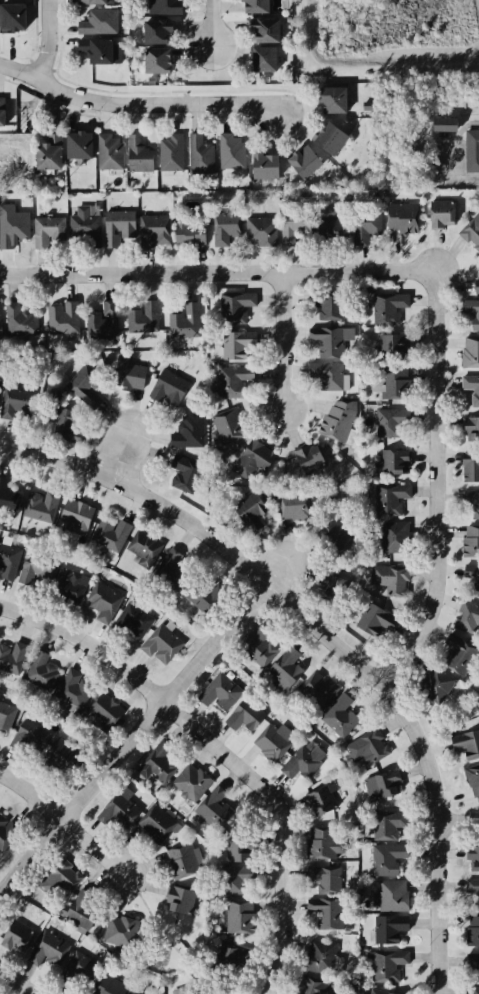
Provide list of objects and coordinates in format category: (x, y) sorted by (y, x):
building: (94, 1)
building: (254, 5)
building: (162, 6)
building: (11, 16)
building: (98, 22)
building: (154, 30)
building: (263, 30)
road: (217, 31)
road: (39, 39)
building: (94, 49)
building: (262, 58)
building: (154, 59)
building: (331, 99)
road: (137, 105)
building: (367, 105)
building: (1, 111)
building: (444, 124)
building: (327, 137)
building: (76, 143)
building: (471, 150)
building: (231, 151)
building: (47, 152)
building: (108, 152)
building: (171, 152)
building: (138, 154)
building: (200, 155)
building: (302, 161)
building: (263, 165)
building: (441, 213)
building: (402, 217)
building: (85, 225)
building: (365, 225)
building: (118, 226)
building: (294, 226)
building: (327, 226)
building: (13, 227)
building: (224, 227)
building: (189, 229)
building: (47, 230)
building: (154, 230)
building: (261, 230)
building: (471, 231)
road: (218, 273)
building: (476, 286)
building: (329, 305)
building: (234, 306)
building: (388, 307)
building: (471, 311)
building: (62, 318)
building: (142, 318)
building: (20, 319)
building: (184, 320)
building: (102, 321)
building: (0, 330)
building: (328, 340)
road: (286, 341)
building: (236, 343)
building: (470, 352)
building: (394, 368)
building: (129, 372)
building: (329, 376)
building: (233, 379)
building: (84, 385)
building: (168, 387)
building: (471, 388)
building: (53, 394)
building: (13, 402)
building: (337, 420)
building: (391, 421)
building: (227, 425)
building: (65, 426)
building: (470, 427)
building: (189, 432)
road: (132, 441)
building: (253, 458)
building: (309, 458)
building: (393, 461)
building: (470, 466)
building: (184, 473)
road: (439, 483)
building: (8, 498)
building: (390, 498)
building: (471, 500)
building: (294, 502)
building: (40, 505)
building: (249, 509)
building: (76, 515)
building: (111, 534)
building: (334, 537)
building: (393, 537)
building: (471, 540)
building: (143, 549)
building: (8, 560)
building: (34, 567)
building: (171, 571)
building: (472, 576)
building: (389, 578)
road: (269, 581)
building: (69, 585)
building: (332, 586)
building: (199, 598)
building: (103, 601)
building: (467, 616)
building: (132, 619)
building: (375, 619)
building: (160, 643)
building: (260, 646)
building: (460, 655)
building: (12, 656)
building: (286, 669)
building: (40, 671)
building: (435, 684)
building: (317, 689)
building: (71, 690)
building: (220, 691)
building: (476, 702)
building: (106, 712)
building: (339, 714)
building: (244, 715)
building: (6, 716)
road: (148, 720)
building: (28, 736)
building: (272, 742)
building: (466, 744)
building: (367, 747)
road: (224, 751)
building: (58, 755)
building: (156, 762)
building: (302, 762)
building: (472, 778)
building: (191, 781)
building: (382, 784)
building: (320, 799)
building: (212, 808)
building: (117, 809)
road: (462, 819)
road: (63, 822)
building: (155, 822)
building: (388, 823)
building: (6, 830)
building: (325, 841)
building: (236, 846)
building: (472, 855)
building: (386, 858)
building: (183, 859)
building: (58, 877)
building: (235, 877)
building: (324, 877)
building: (472, 885)
building: (392, 895)
building: (179, 897)
building: (477, 903)
road: (448, 906)
building: (77, 910)
building: (325, 911)
building: (238, 915)
building: (388, 926)
building: (122, 930)
building: (472, 930)
building: (15, 935)
building: (48, 948)
building: (230, 953)
building: (316, 955)
building: (472, 959)
building: (386, 964)
building: (78, 966)
road: (21, 981)
building: (106, 985)
building: (312, 985)
building: (474, 989)
building: (182, 990)
building: (376, 992)
building: (136, 993)

